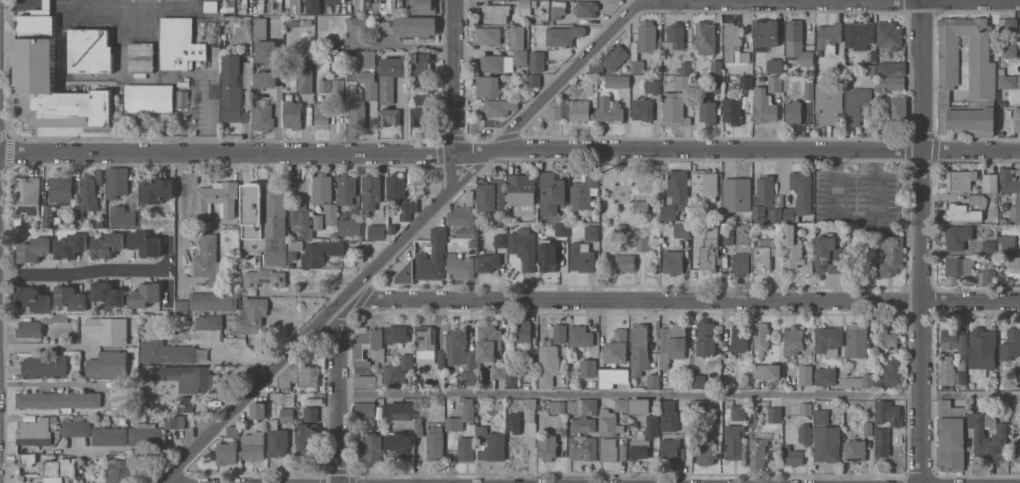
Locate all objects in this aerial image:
building: (293, 4)
building: (359, 5)
building: (211, 6)
building: (228, 6)
building: (313, 6)
building: (391, 6)
building: (423, 7)
building: (525, 7)
building: (586, 8)
building: (558, 9)
building: (495, 13)
building: (358, 23)
building: (1007, 24)
building: (408, 26)
building: (766, 32)
building: (860, 34)
building: (503, 35)
building: (563, 35)
building: (889, 35)
building: (647, 36)
building: (706, 37)
building: (829, 37)
building: (674, 38)
building: (731, 40)
building: (264, 42)
building: (797, 43)
building: (179, 44)
building: (90, 50)
building: (1010, 51)
building: (521, 56)
building: (615, 57)
building: (141, 58)
building: (370, 58)
building: (638, 61)
building: (537, 62)
building: (421, 63)
building: (492, 63)
road: (576, 64)
building: (775, 66)
building: (716, 67)
building: (892, 67)
building: (686, 68)
building: (982, 74)
building: (306, 77)
building: (390, 77)
road: (455, 77)
building: (265, 78)
building: (51, 79)
building: (534, 80)
building: (617, 80)
building: (1006, 80)
building: (633, 81)
building: (745, 81)
building: (682, 82)
building: (890, 82)
building: (775, 83)
building: (369, 84)
building: (716, 84)
building: (322, 85)
building: (488, 86)
building: (653, 86)
building: (232, 89)
building: (338, 90)
building: (809, 90)
road: (280, 92)
building: (149, 98)
building: (182, 98)
building: (422, 98)
building: (829, 101)
building: (858, 104)
building: (764, 106)
building: (499, 107)
building: (356, 109)
building: (564, 109)
building: (610, 109)
building: (642, 109)
building: (675, 109)
building: (898, 109)
building: (555, 110)
building: (579, 110)
building: (708, 111)
building: (732, 111)
building: (793, 112)
building: (321, 113)
building: (262, 114)
building: (292, 114)
building: (419, 116)
building: (390, 117)
road: (403, 117)
building: (1016, 119)
road: (506, 140)
road: (760, 150)
road: (250, 153)
building: (958, 180)
building: (1009, 180)
building: (117, 181)
building: (990, 183)
building: (705, 184)
building: (322, 188)
building: (346, 188)
building: (395, 188)
building: (679, 188)
building: (61, 190)
building: (157, 190)
building: (371, 190)
building: (584, 191)
building: (802, 191)
building: (552, 192)
building: (523, 193)
building: (88, 194)
building: (492, 194)
building: (737, 194)
building: (100, 195)
building: (217, 196)
building: (26, 197)
building: (764, 199)
building: (641, 207)
building: (956, 207)
building: (409, 208)
building: (251, 210)
building: (1016, 210)
building: (275, 212)
building: (668, 212)
building: (331, 214)
building: (776, 214)
building: (790, 215)
building: (462, 216)
building: (50, 217)
building: (123, 217)
road: (177, 221)
building: (301, 221)
building: (318, 221)
building: (349, 227)
building: (562, 228)
building: (682, 230)
building: (377, 231)
building: (465, 232)
building: (592, 233)
building: (729, 236)
building: (957, 236)
building: (743, 238)
building: (500, 240)
road: (921, 241)
building: (145, 243)
building: (472, 243)
building: (108, 244)
building: (296, 244)
building: (643, 244)
building: (1007, 244)
building: (71, 245)
building: (990, 246)
building: (524, 247)
building: (34, 249)
building: (710, 250)
building: (794, 250)
building: (320, 252)
building: (549, 254)
building: (828, 255)
building: (433, 256)
building: (889, 256)
building: (581, 257)
building: (765, 257)
building: (276, 258)
building: (209, 261)
building: (488, 262)
building: (673, 262)
building: (624, 263)
building: (741, 263)
building: (959, 265)
building: (461, 266)
road: (99, 271)
building: (406, 273)
building: (989, 276)
building: (266, 277)
building: (107, 293)
building: (145, 294)
building: (71, 297)
building: (34, 298)
road: (682, 300)
building: (213, 301)
building: (182, 306)
road: (330, 315)
building: (252, 316)
building: (211, 321)
building: (37, 325)
building: (108, 329)
building: (523, 332)
building: (396, 333)
building: (560, 333)
building: (580, 336)
building: (761, 336)
building: (706, 338)
building: (740, 338)
building: (886, 339)
building: (829, 340)
building: (953, 340)
building: (857, 341)
building: (489, 342)
building: (794, 342)
building: (672, 343)
building: (426, 344)
building: (457, 344)
building: (1011, 344)
building: (617, 347)
road: (56, 348)
building: (639, 349)
building: (982, 351)
building: (165, 353)
building: (359, 355)
building: (442, 358)
building: (406, 361)
building: (44, 365)
building: (107, 365)
building: (548, 365)
building: (588, 368)
building: (805, 368)
building: (469, 369)
building: (500, 371)
building: (759, 371)
building: (773, 371)
building: (948, 373)
building: (962, 373)
building: (307, 375)
building: (394, 375)
building: (888, 375)
building: (512, 376)
building: (612, 376)
building: (825, 376)
building: (190, 377)
building: (1017, 377)
building: (653, 380)
building: (285, 381)
building: (698, 381)
building: (859, 382)
road: (51, 384)
road: (340, 392)
road: (679, 395)
building: (59, 400)
building: (186, 404)
building: (621, 405)
building: (639, 405)
building: (557, 407)
building: (699, 407)
building: (365, 409)
building: (806, 409)
building: (258, 410)
building: (400, 410)
building: (535, 410)
building: (739, 412)
building: (888, 413)
building: (287, 414)
building: (311, 414)
building: (583, 414)
building: (775, 414)
building: (461, 415)
building: (669, 416)
building: (822, 416)
building: (175, 421)
building: (514, 421)
building: (608, 423)
building: (418, 427)
building: (652, 428)
building: (51, 429)
building: (868, 429)
building: (233, 431)
building: (145, 434)
building: (805, 434)
building: (110, 436)
building: (951, 436)
building: (988, 436)
building: (277, 440)
building: (307, 440)
building: (735, 441)
building: (882, 441)
building: (400, 443)
building: (491, 443)
building: (827, 443)
building: (435, 444)
building: (254, 446)
building: (547, 446)
building: (640, 447)
building: (670, 447)
building: (371, 448)
building: (466, 448)
building: (582, 448)
building: (609, 449)
building: (706, 449)
building: (855, 450)
building: (757, 451)
building: (227, 452)
building: (1015, 453)
building: (792, 456)
building: (26, 459)
building: (56, 467)
building: (120, 471)
building: (53, 479)

